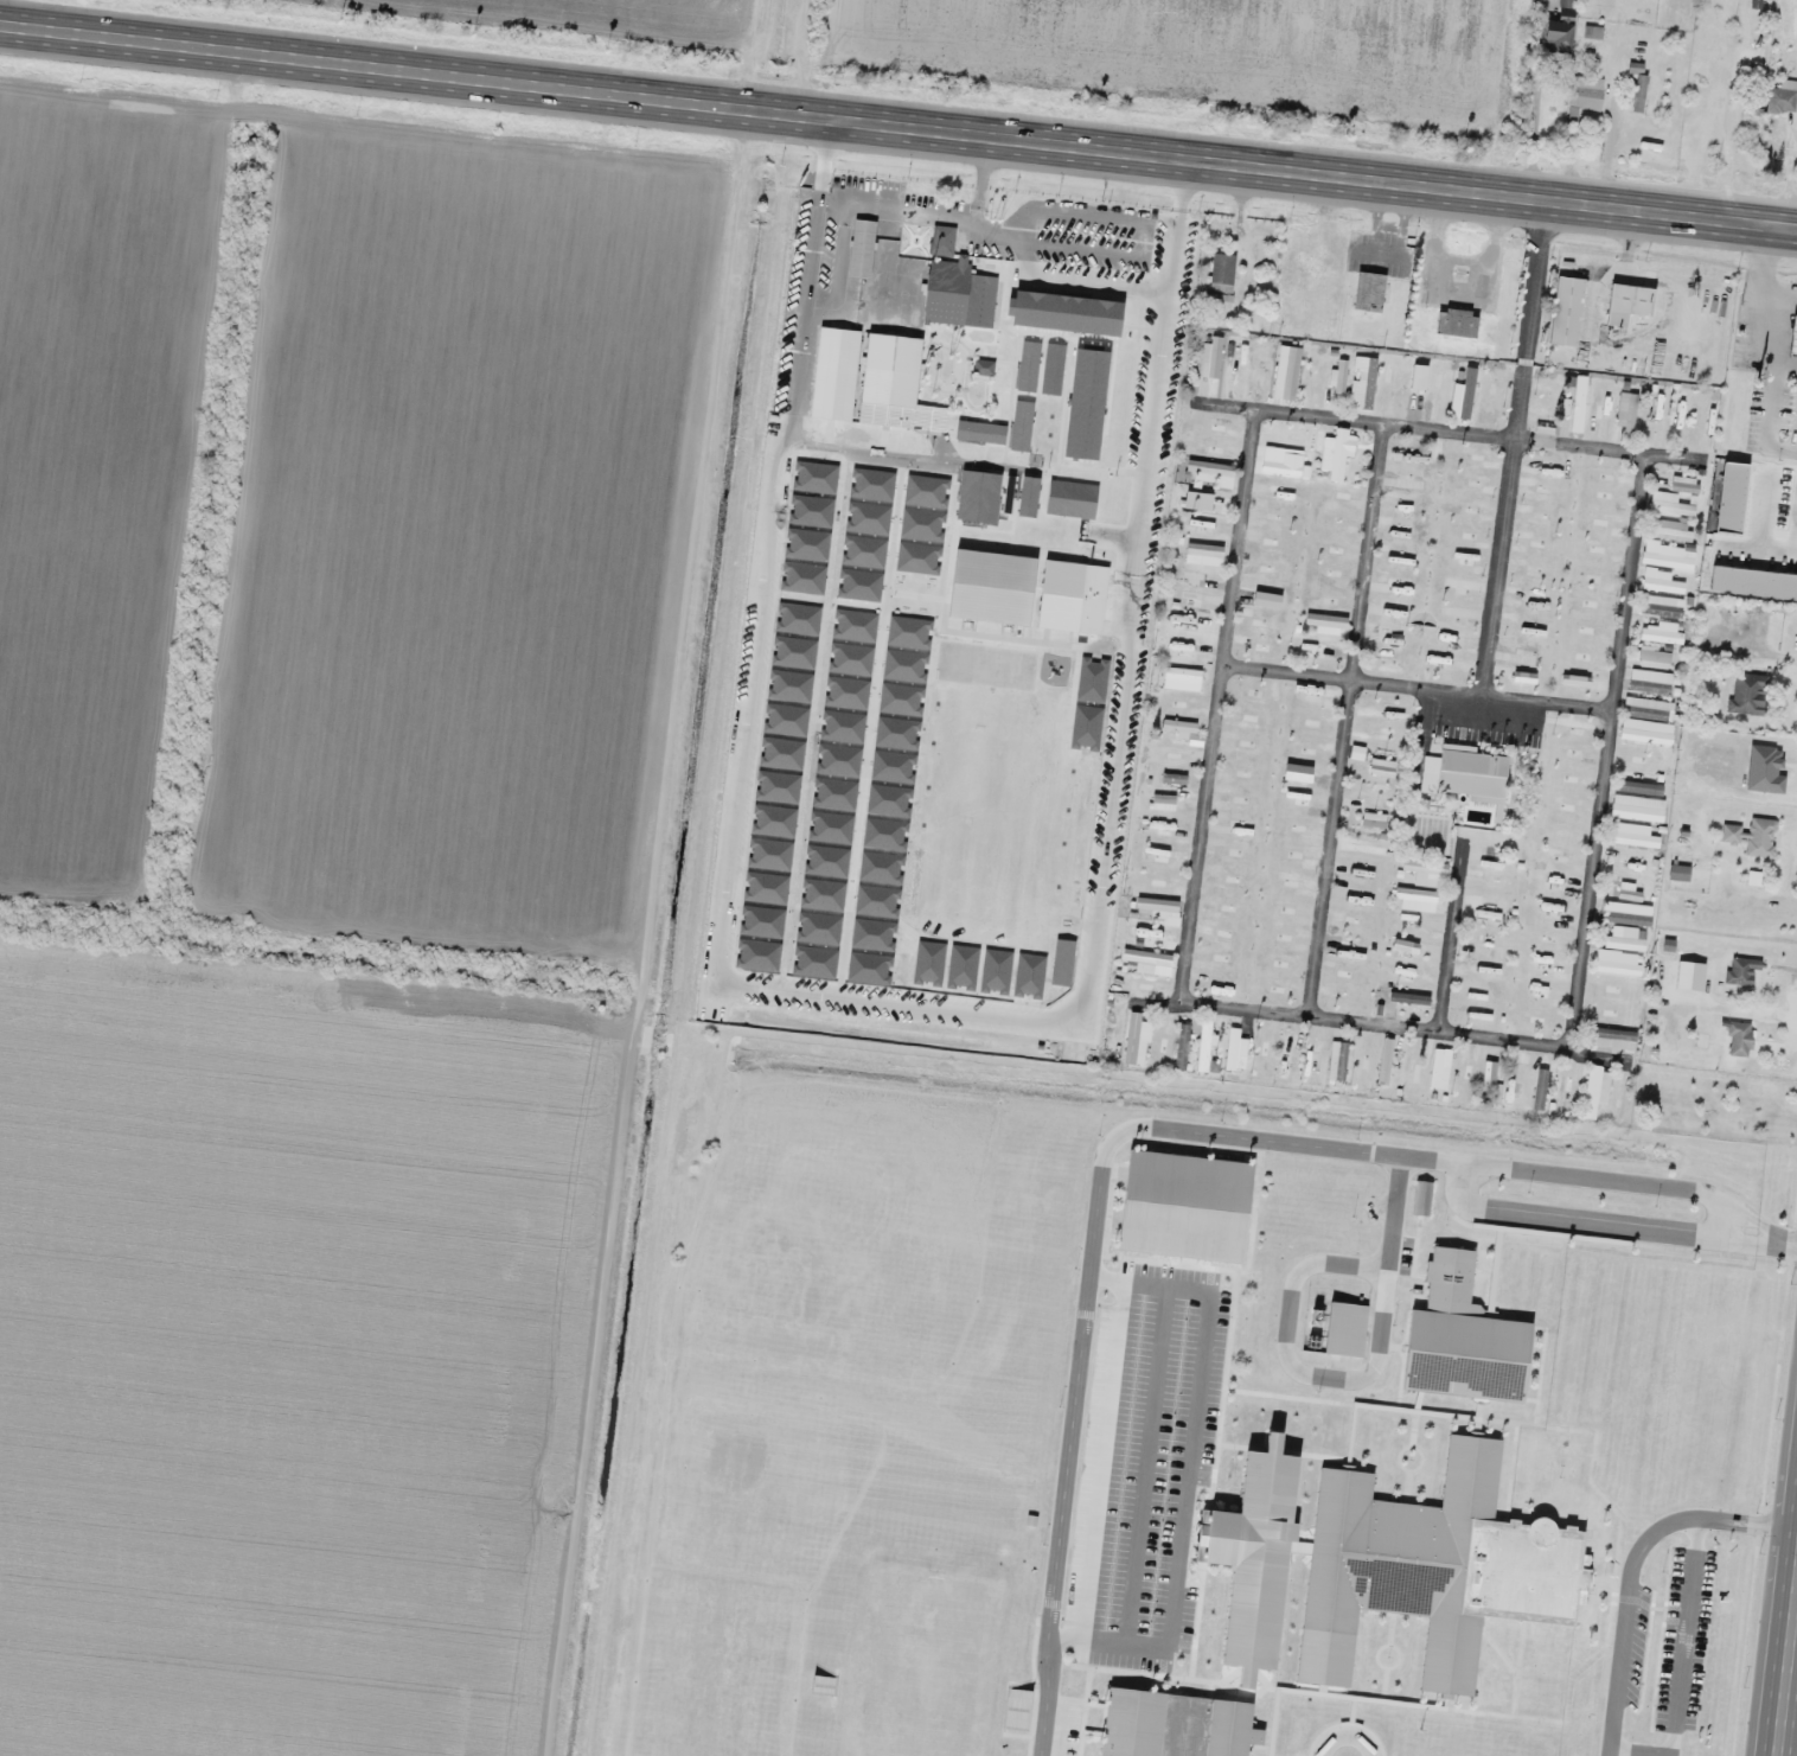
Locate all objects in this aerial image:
building: (1753, 12)
building: (1556, 24)
road: (754, 53)
building: (1703, 81)
building: (1637, 88)
building: (1586, 92)
building: (1780, 100)
building: (1701, 121)
road: (897, 127)
building: (864, 248)
building: (1222, 273)
building: (958, 285)
building: (1368, 293)
building: (1219, 301)
building: (1625, 304)
building: (1565, 312)
building: (1457, 323)
building: (1792, 338)
building: (1293, 366)
building: (1338, 377)
building: (1366, 377)
building: (894, 382)
building: (1465, 390)
building: (1573, 408)
building: (1654, 410)
building: (1627, 411)
building: (1796, 421)
building: (1700, 422)
road: (1456, 432)
road: (1511, 449)
building: (1336, 453)
building: (1280, 468)
building: (1208, 473)
building: (1684, 484)
building: (1670, 504)
building: (1669, 531)
building: (1658, 549)
building: (1206, 553)
building: (1661, 581)
building: (1329, 621)
building: (1662, 630)
building: (1655, 657)
building: (1184, 673)
building: (1652, 681)
road: (1415, 688)
building: (1750, 691)
road: (1217, 705)
building: (1650, 708)
road: (1345, 721)
building: (1181, 726)
building: (1648, 730)
road: (1604, 752)
building: (1383, 766)
building: (1472, 773)
building: (1175, 777)
building: (1641, 786)
building: (1638, 807)
building: (1375, 819)
building: (1632, 834)
building: (1763, 836)
building: (1427, 867)
building: (1681, 871)
building: (1496, 885)
building: (1163, 908)
building: (1627, 913)
building: (1627, 939)
road: (1451, 940)
building: (1149, 956)
building: (1620, 960)
building: (1484, 966)
building: (1742, 975)
road: (1402, 1032)
building: (1616, 1037)
building: (1138, 1039)
building: (1206, 1045)
building: (1183, 1046)
building: (1236, 1049)
building: (1290, 1052)
building: (1387, 1059)
building: (1339, 1061)
building: (1441, 1067)
building: (1489, 1069)
building: (1542, 1088)
building: (1597, 1088)
road: (1641, 1182)
road: (1593, 1222)
road: (1785, 1239)
road: (1091, 1256)
road: (1288, 1311)
building: (1349, 1328)
building: (1467, 1337)
road: (1147, 1467)
road: (1188, 1471)
building: (1441, 1562)
road: (1630, 1566)
road: (1680, 1665)
road: (1793, 1728)
building: (1233, 1729)
road: (1344, 1736)

